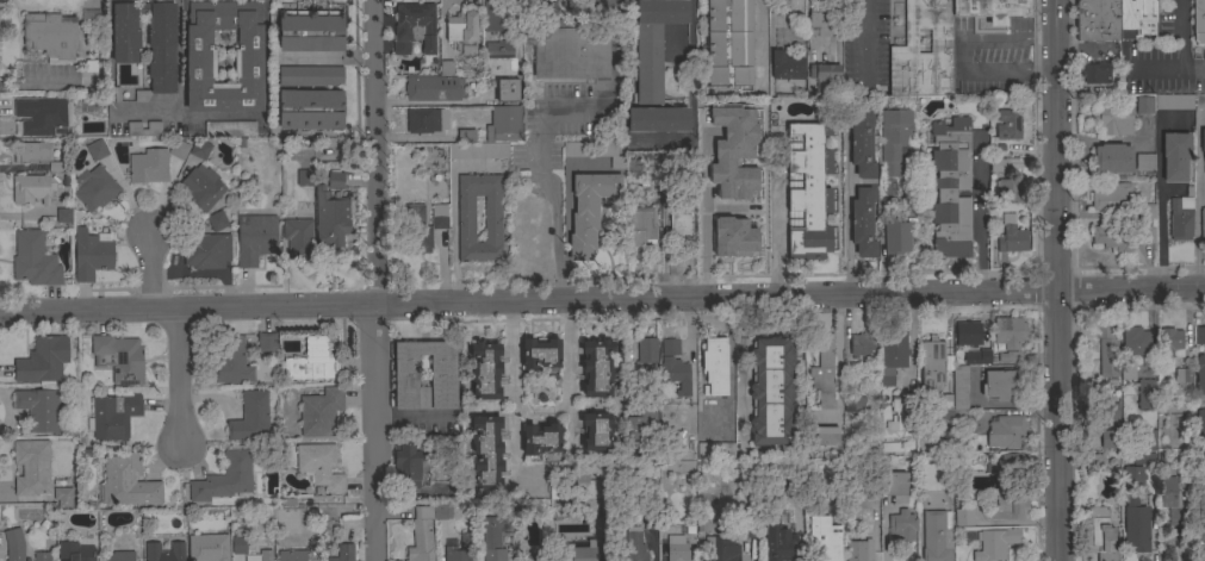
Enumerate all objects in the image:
building: (992, 10)
building: (492, 15)
building: (1135, 18)
building: (1097, 19)
building: (1199, 21)
building: (821, 24)
building: (414, 27)
building: (311, 31)
building: (125, 32)
building: (462, 32)
building: (51, 36)
road: (524, 36)
road: (757, 39)
building: (729, 43)
road: (863, 43)
building: (498, 49)
road: (1175, 49)
building: (160, 50)
road: (614, 50)
building: (902, 50)
building: (569, 54)
road: (690, 54)
road: (176, 55)
road: (108, 56)
road: (964, 56)
road: (266, 57)
building: (201, 63)
building: (498, 67)
building: (446, 68)
building: (654, 68)
building: (787, 68)
building: (1095, 73)
building: (310, 76)
building: (826, 79)
road: (36, 82)
building: (433, 88)
building: (507, 89)
road: (182, 98)
building: (1173, 102)
building: (1199, 102)
building: (1143, 105)
building: (311, 110)
road: (148, 111)
building: (42, 116)
building: (1114, 118)
building: (427, 121)
building: (504, 124)
building: (1008, 124)
building: (144, 129)
building: (230, 129)
building: (751, 130)
building: (710, 132)
building: (466, 136)
building: (665, 139)
building: (893, 139)
building: (863, 142)
building: (1203, 142)
building: (179, 149)
building: (200, 149)
building: (97, 150)
building: (478, 151)
building: (597, 151)
building: (36, 155)
building: (1175, 156)
building: (1112, 158)
building: (1144, 162)
building: (999, 166)
building: (149, 167)
road: (536, 167)
building: (633, 168)
building: (305, 177)
building: (336, 180)
building: (706, 180)
building: (200, 187)
building: (951, 187)
building: (94, 188)
building: (31, 189)
building: (808, 191)
building: (1011, 191)
building: (1113, 199)
road: (1197, 200)
road: (1160, 202)
road: (846, 205)
building: (589, 211)
building: (1148, 211)
road: (979, 212)
building: (63, 214)
road: (452, 214)
building: (331, 218)
building: (466, 219)
building: (1180, 219)
building: (217, 222)
building: (863, 222)
building: (681, 224)
building: (640, 226)
building: (421, 227)
building: (752, 227)
building: (1203, 227)
road: (774, 232)
building: (709, 235)
building: (1147, 235)
building: (1011, 236)
building: (729, 237)
building: (1113, 237)
building: (255, 238)
building: (298, 238)
building: (896, 238)
building: (206, 250)
building: (91, 255)
building: (35, 260)
road: (149, 268)
road: (368, 280)
road: (1057, 280)
road: (602, 300)
building: (1008, 332)
building: (968, 334)
building: (1199, 335)
building: (267, 342)
building: (1136, 343)
building: (1170, 343)
building: (862, 344)
building: (670, 347)
building: (1107, 349)
building: (647, 350)
building: (541, 354)
road: (837, 356)
building: (892, 356)
building: (974, 357)
building: (119, 359)
building: (43, 360)
building: (231, 361)
building: (312, 362)
building: (932, 363)
building: (714, 367)
road: (569, 368)
building: (596, 368)
building: (824, 369)
building: (442, 370)
building: (485, 370)
building: (1128, 370)
building: (676, 374)
building: (1184, 375)
building: (1200, 375)
road: (178, 379)
building: (1004, 379)
road: (513, 387)
building: (771, 392)
building: (959, 393)
building: (1145, 393)
building: (943, 403)
building: (41, 406)
building: (852, 406)
road: (541, 409)
building: (1101, 411)
building: (321, 412)
building: (901, 413)
building: (113, 417)
building: (250, 418)
building: (639, 418)
building: (1200, 423)
building: (596, 431)
building: (1006, 431)
building: (826, 436)
building: (541, 438)
building: (1105, 440)
building: (890, 448)
building: (715, 451)
building: (486, 453)
building: (1144, 459)
building: (1093, 461)
building: (1010, 463)
building: (319, 466)
building: (405, 466)
building: (32, 468)
building: (1132, 476)
building: (225, 478)
building: (794, 480)
building: (128, 481)
building: (893, 482)
building: (574, 486)
building: (1175, 495)
building: (62, 498)
building: (1008, 506)
building: (963, 517)
building: (651, 523)
building: (902, 525)
building: (1136, 526)
building: (426, 530)
building: (750, 530)
road: (884, 531)
building: (1101, 535)
building: (495, 536)
building: (936, 536)
building: (824, 538)
building: (778, 541)
building: (679, 543)
building: (995, 543)
building: (14, 544)
building: (238, 546)
building: (209, 548)
building: (720, 548)
building: (460, 549)
building: (577, 550)
building: (858, 550)
building: (74, 551)
building: (164, 551)
building: (638, 551)
building: (342, 553)
building: (292, 555)
building: (41, 556)
building: (118, 556)
building: (266, 559)
building: (533, 559)

